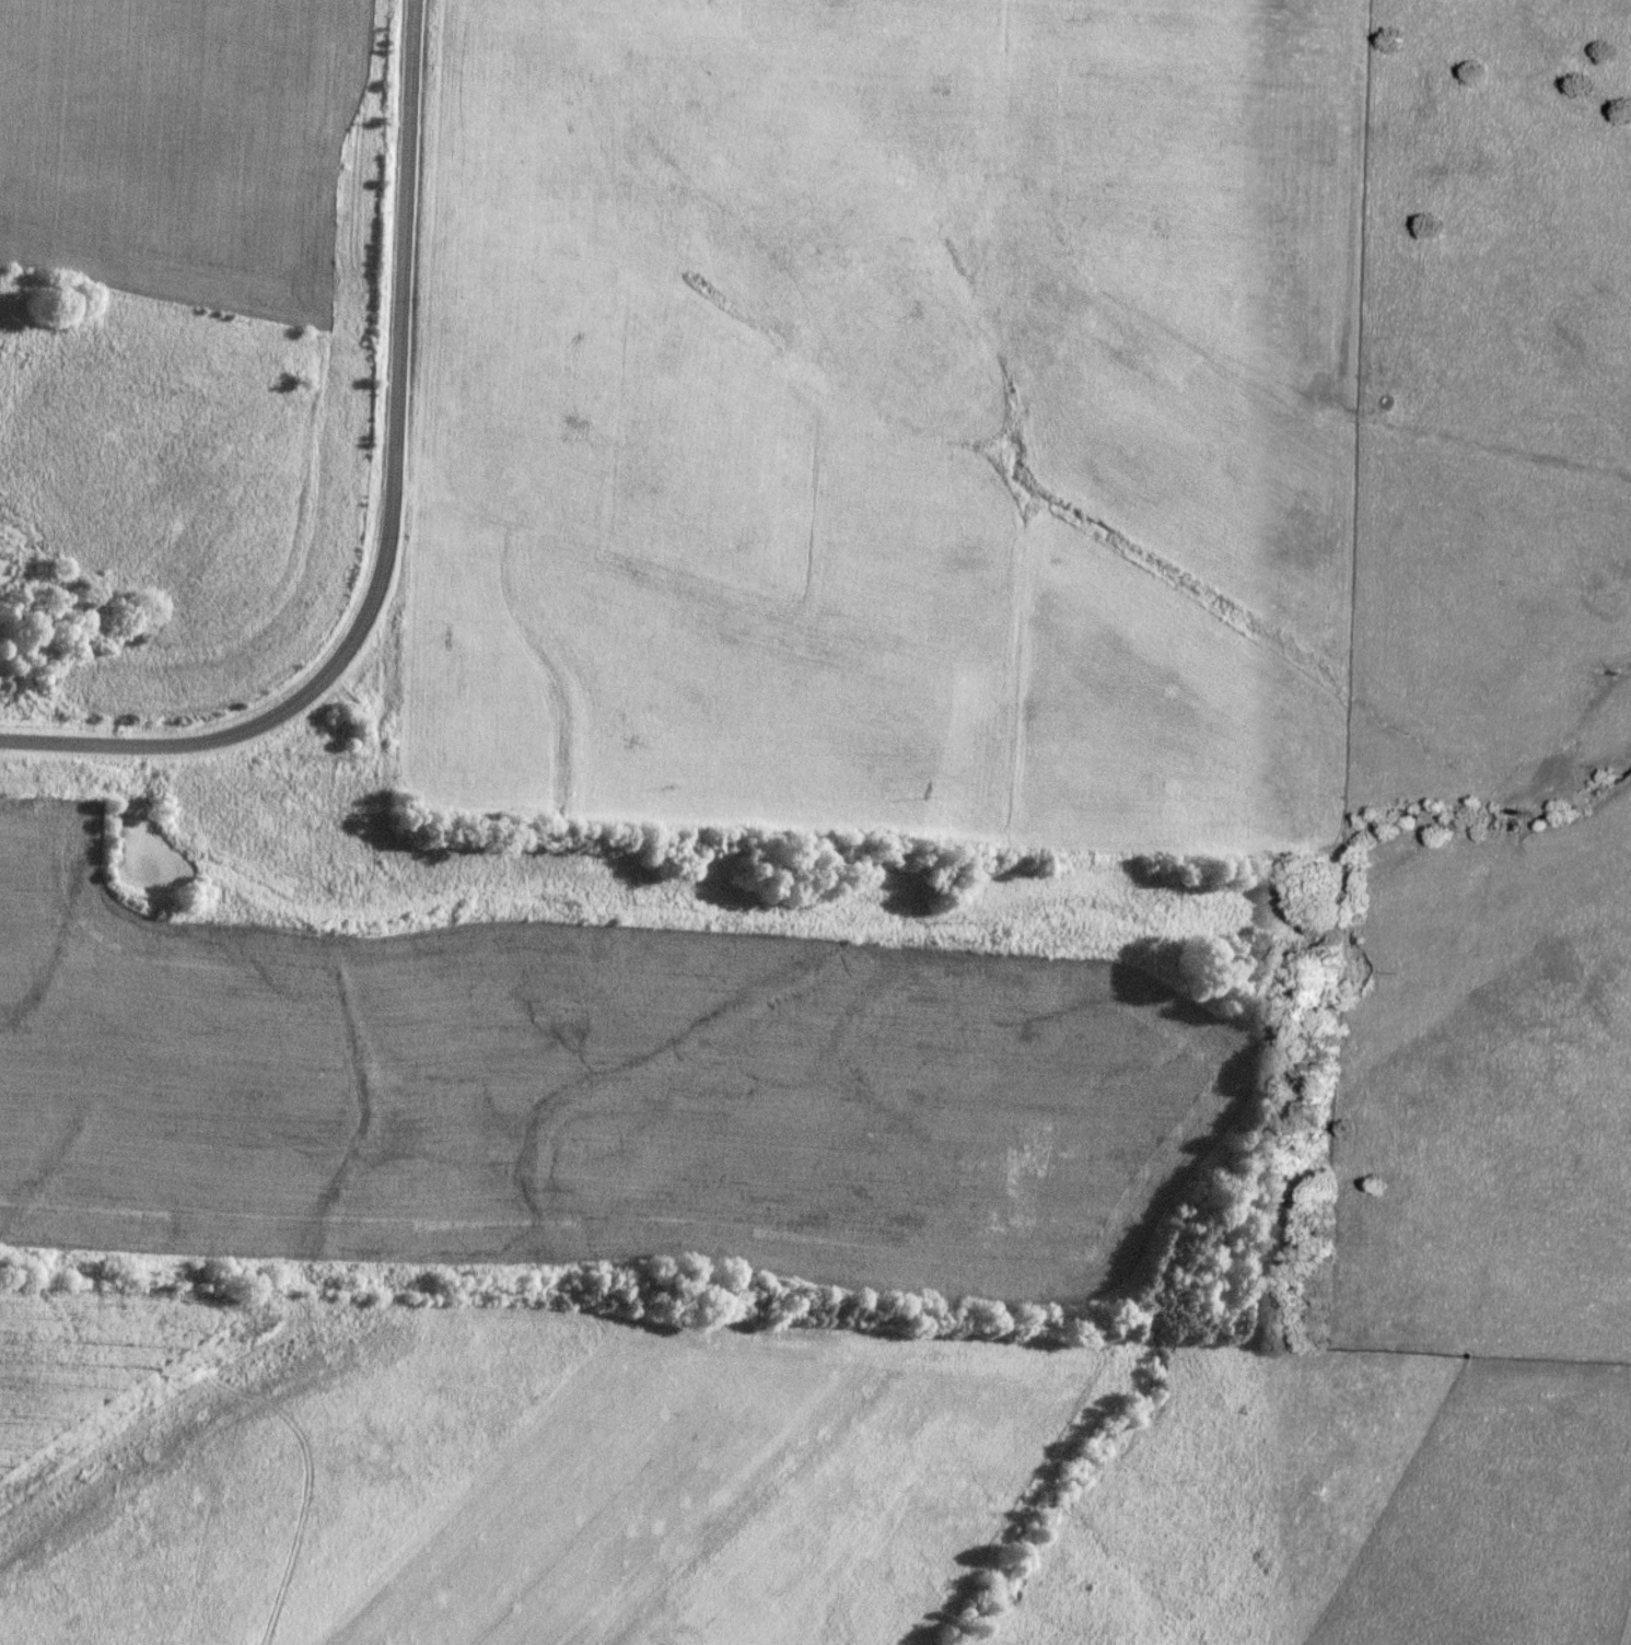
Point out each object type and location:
road: (395, 520)

